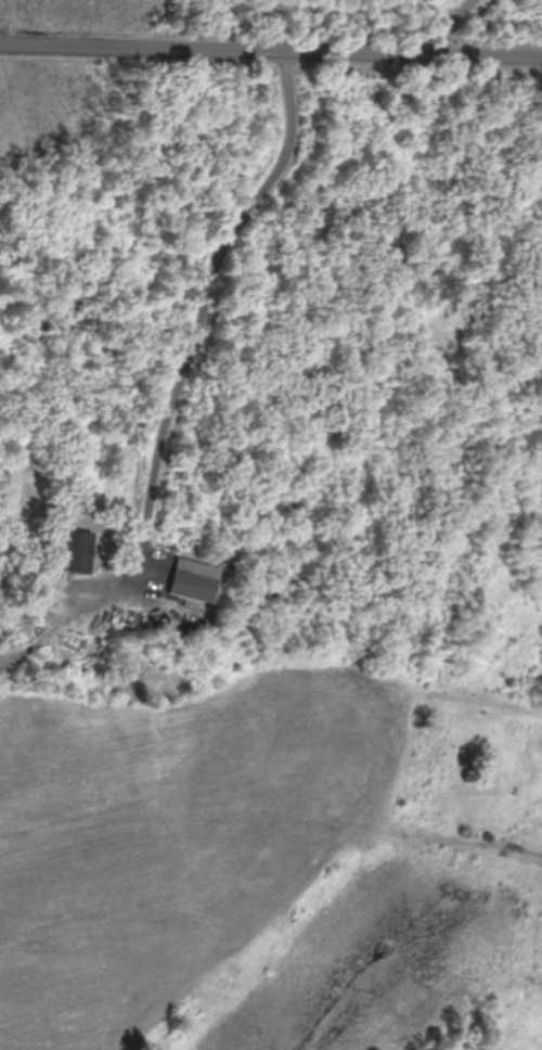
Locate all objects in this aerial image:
road: (271, 57)
building: (80, 552)
building: (194, 587)

